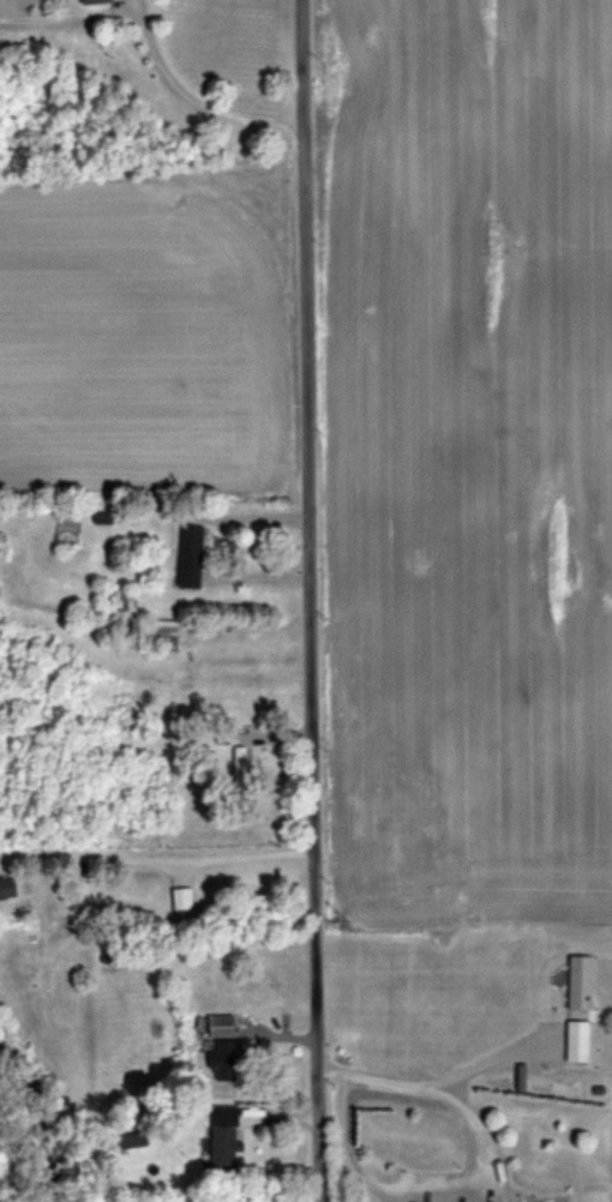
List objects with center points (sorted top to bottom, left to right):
building: (98, 1)
road: (68, 14)
road: (186, 102)
road: (196, 524)
building: (193, 555)
road: (306, 600)
road: (155, 866)
building: (173, 895)
building: (582, 981)
building: (580, 1040)
road: (505, 1047)
building: (222, 1052)
building: (228, 1140)
road: (482, 1179)

